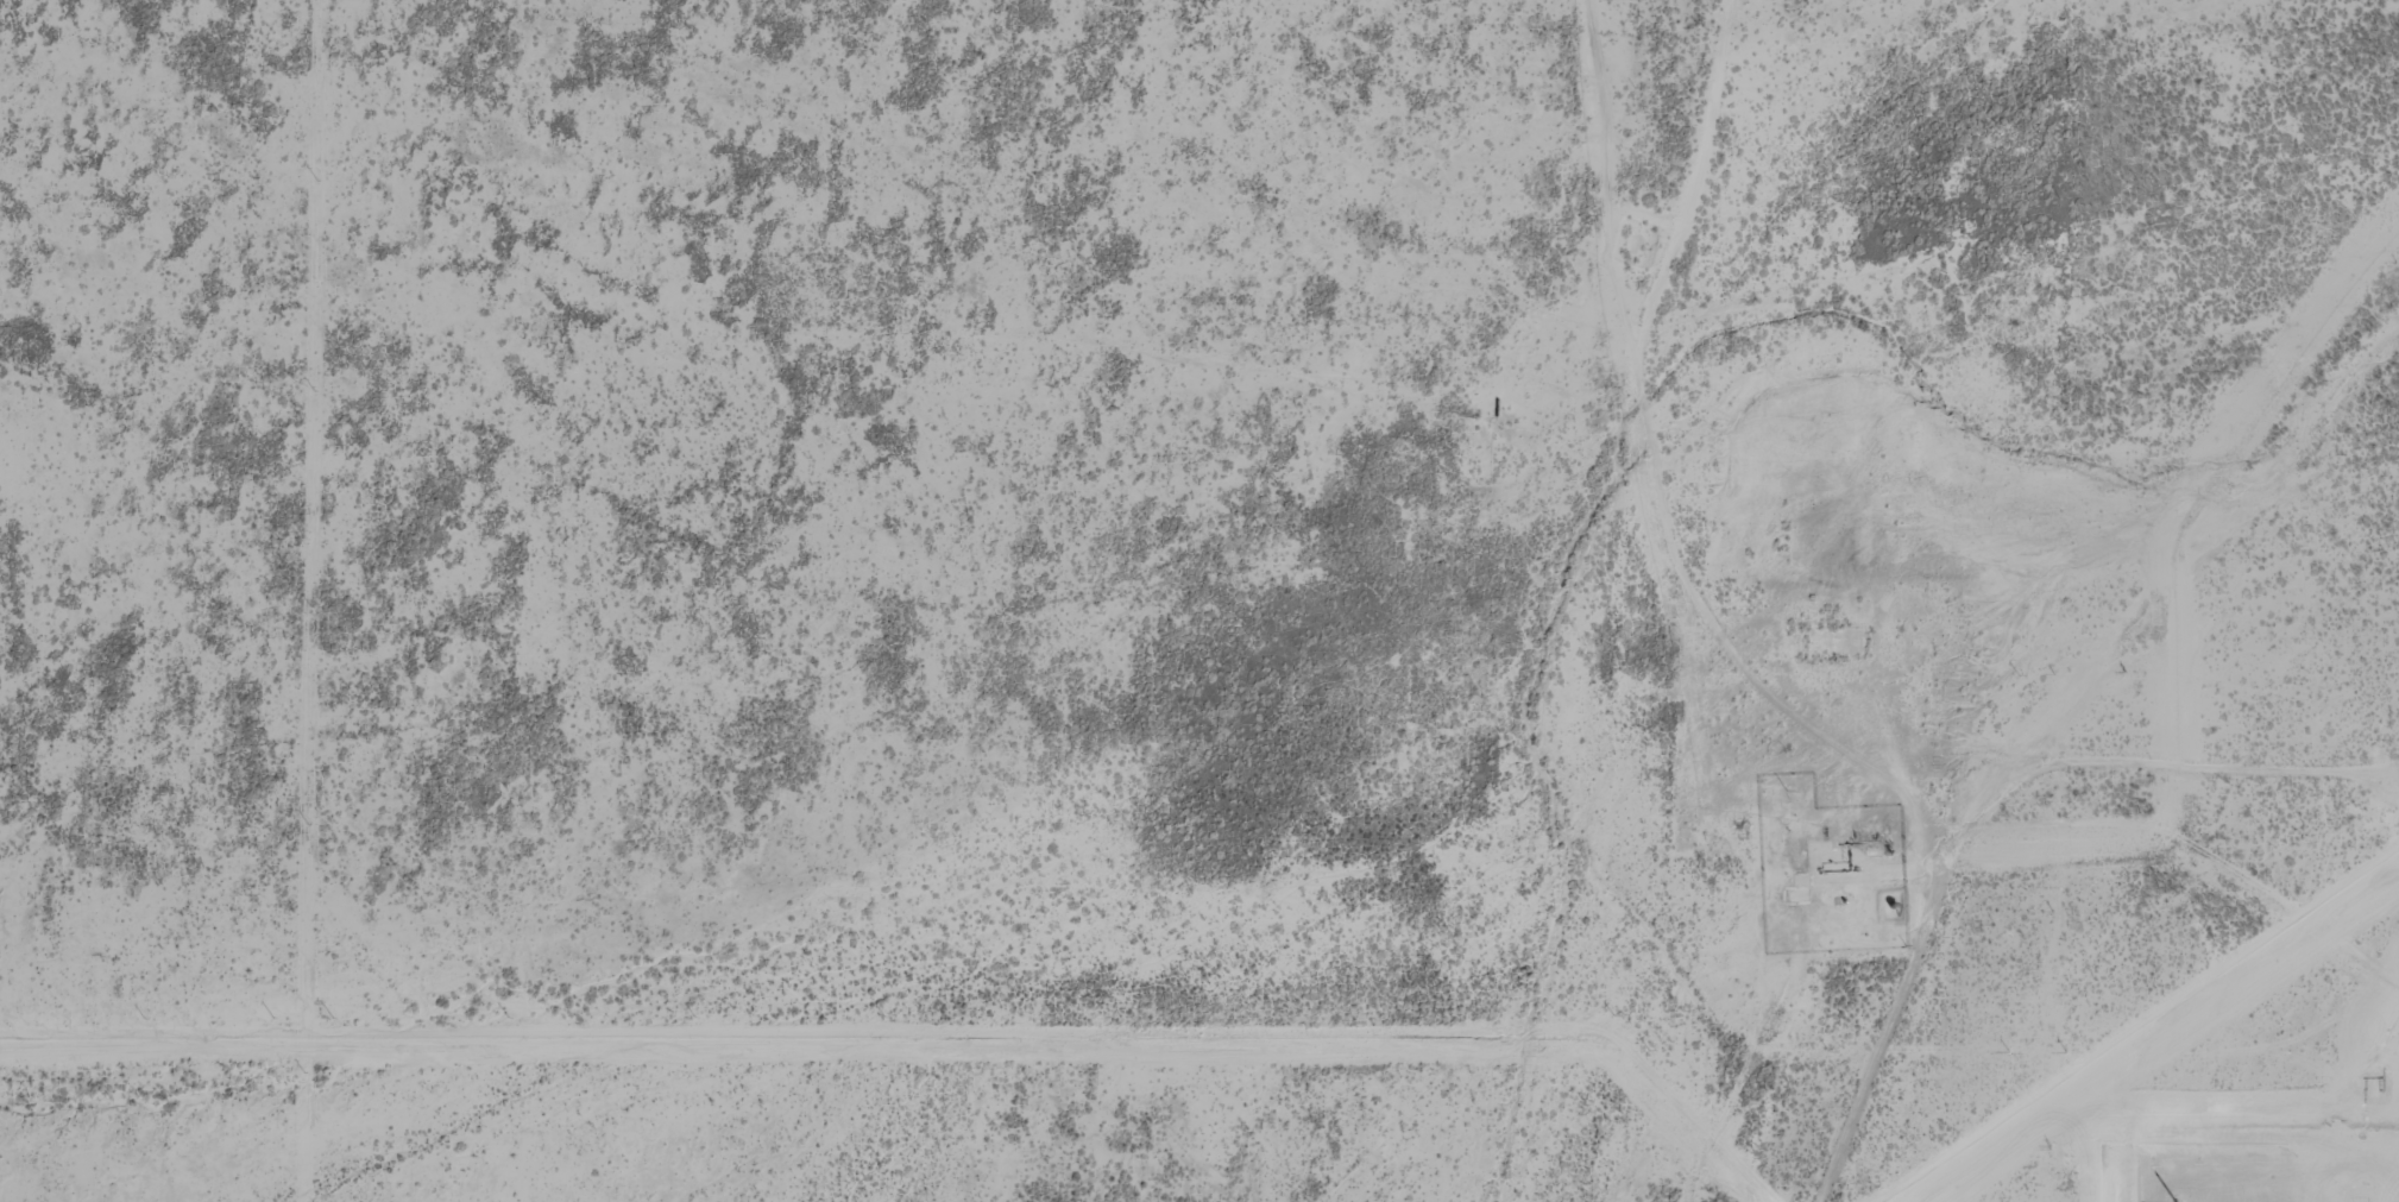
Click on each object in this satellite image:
road: (1670, 200)
road: (1629, 606)
road: (1988, 768)
road: (1555, 895)

